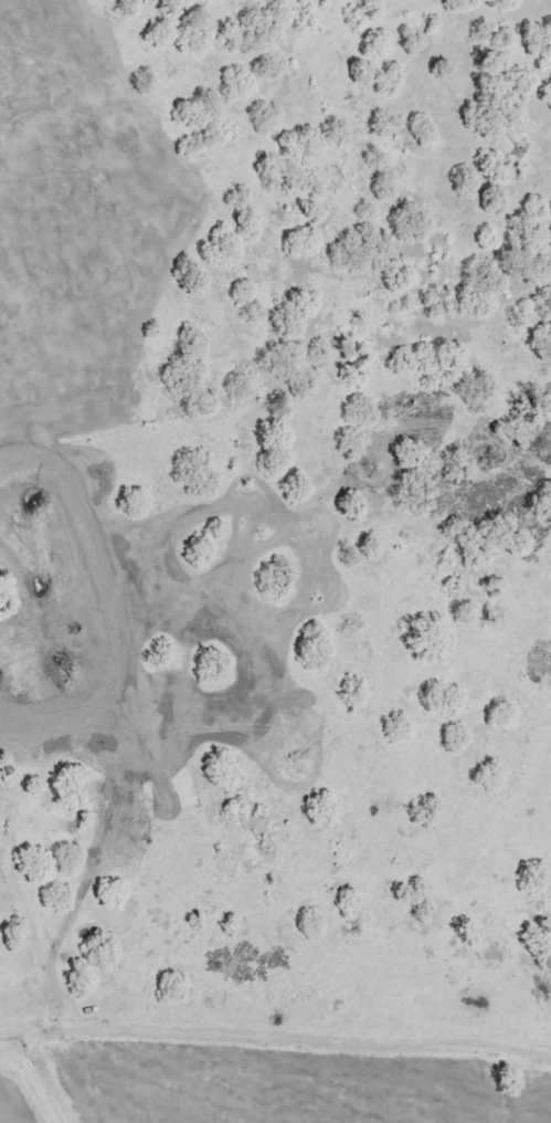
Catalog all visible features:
road: (273, 1040)

